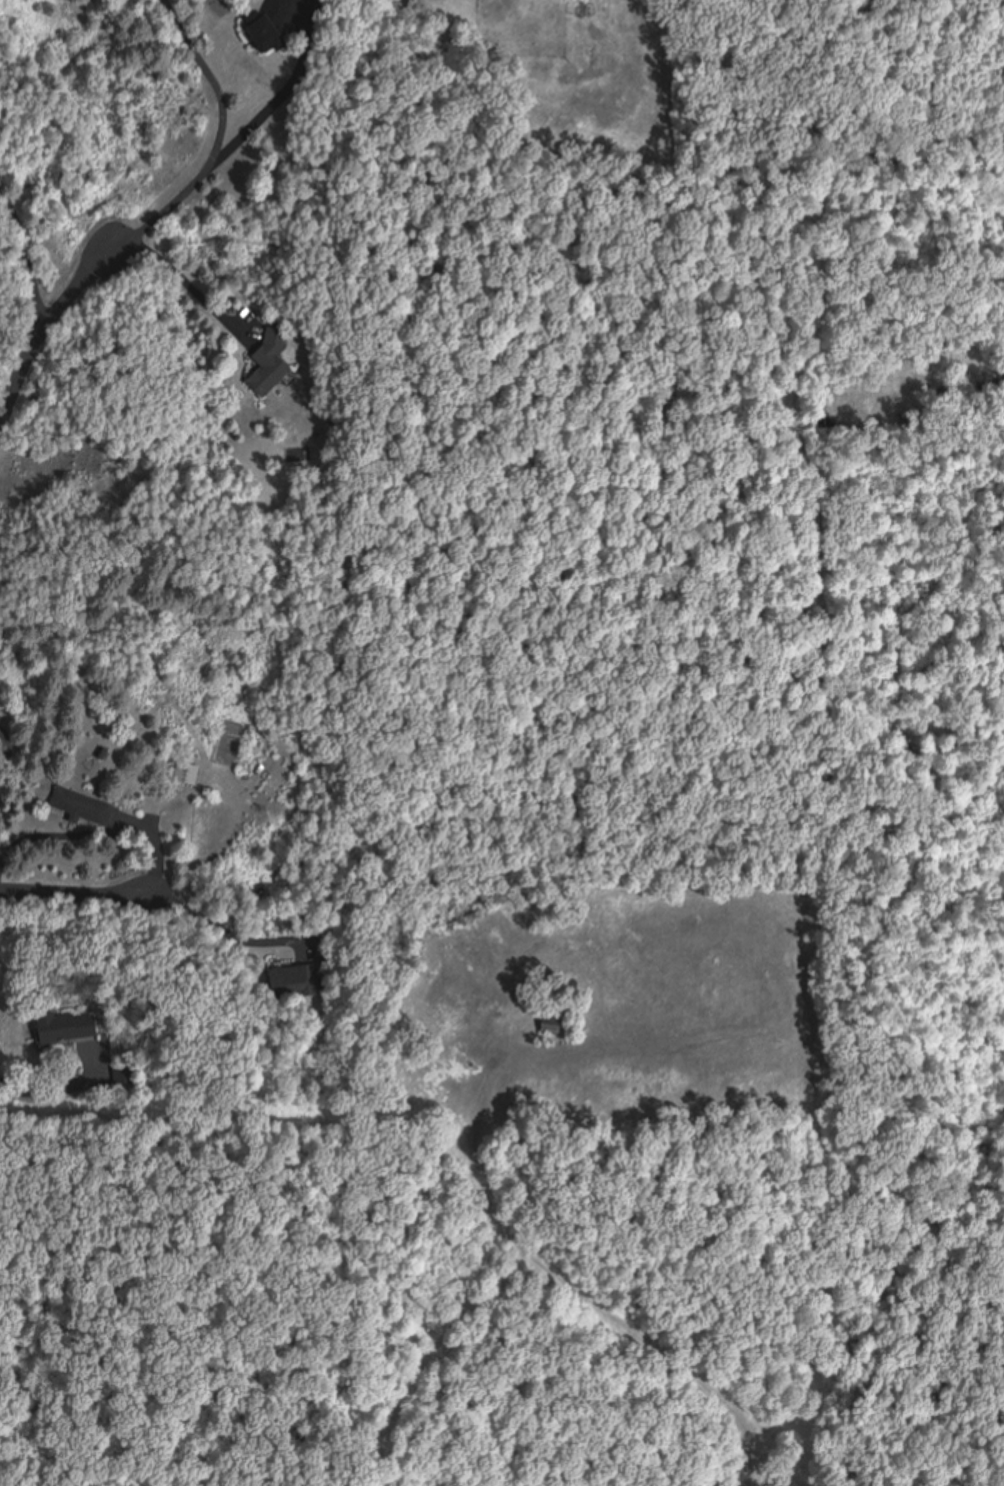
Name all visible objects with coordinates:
building: (263, 28)
road: (139, 320)
road: (42, 331)
building: (265, 362)
building: (183, 773)
building: (80, 808)
road: (76, 892)
building: (293, 982)
building: (551, 1024)
building: (56, 1028)
road: (174, 1399)

